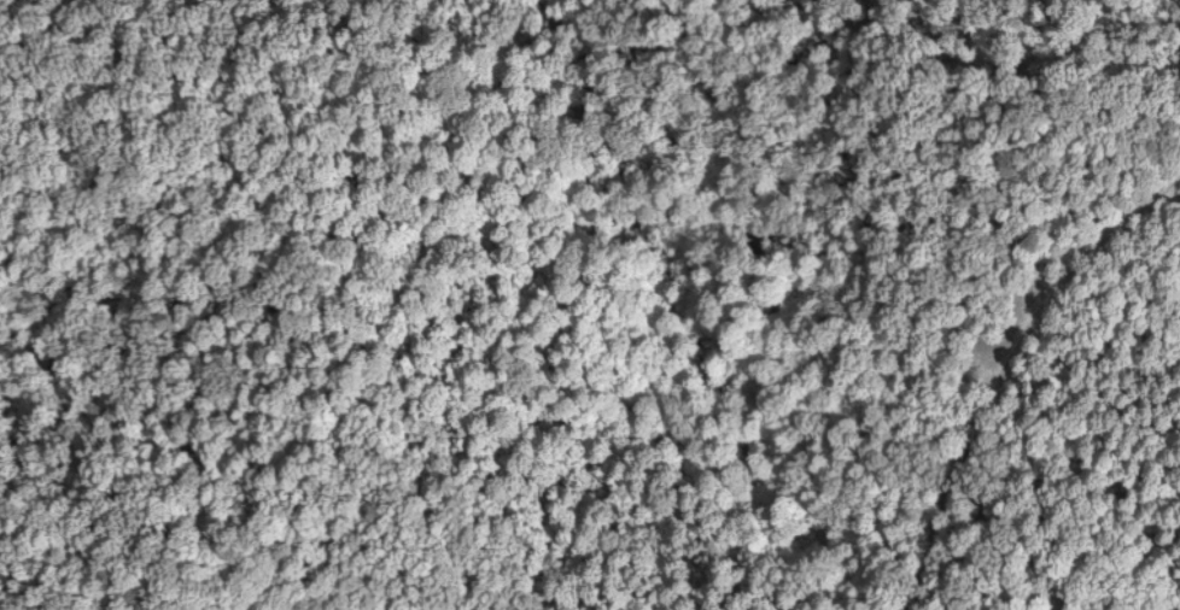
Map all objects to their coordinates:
road: (1030, 406)

